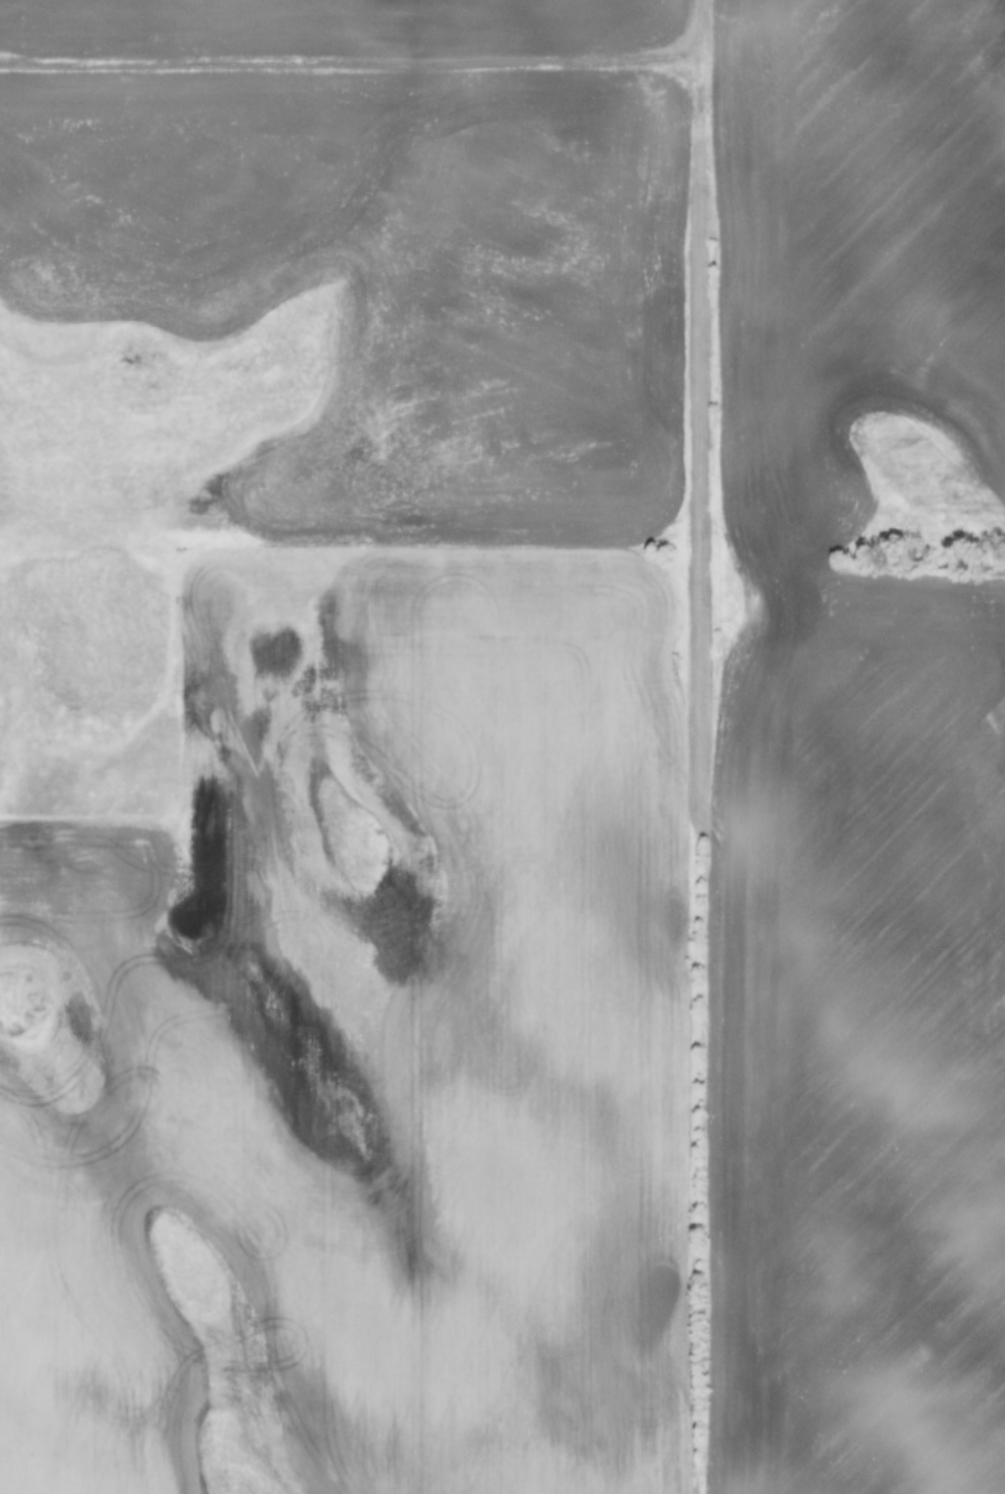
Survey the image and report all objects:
road: (349, 61)
road: (700, 747)

